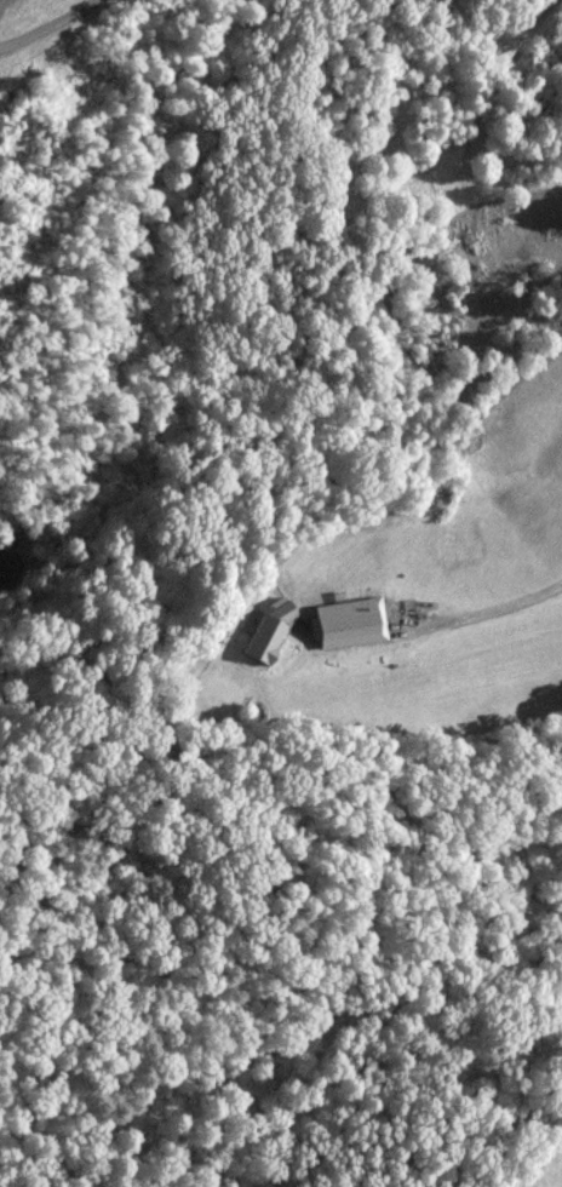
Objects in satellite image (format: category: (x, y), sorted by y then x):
road: (48, 25)
building: (1, 162)
road: (499, 607)
building: (273, 631)

